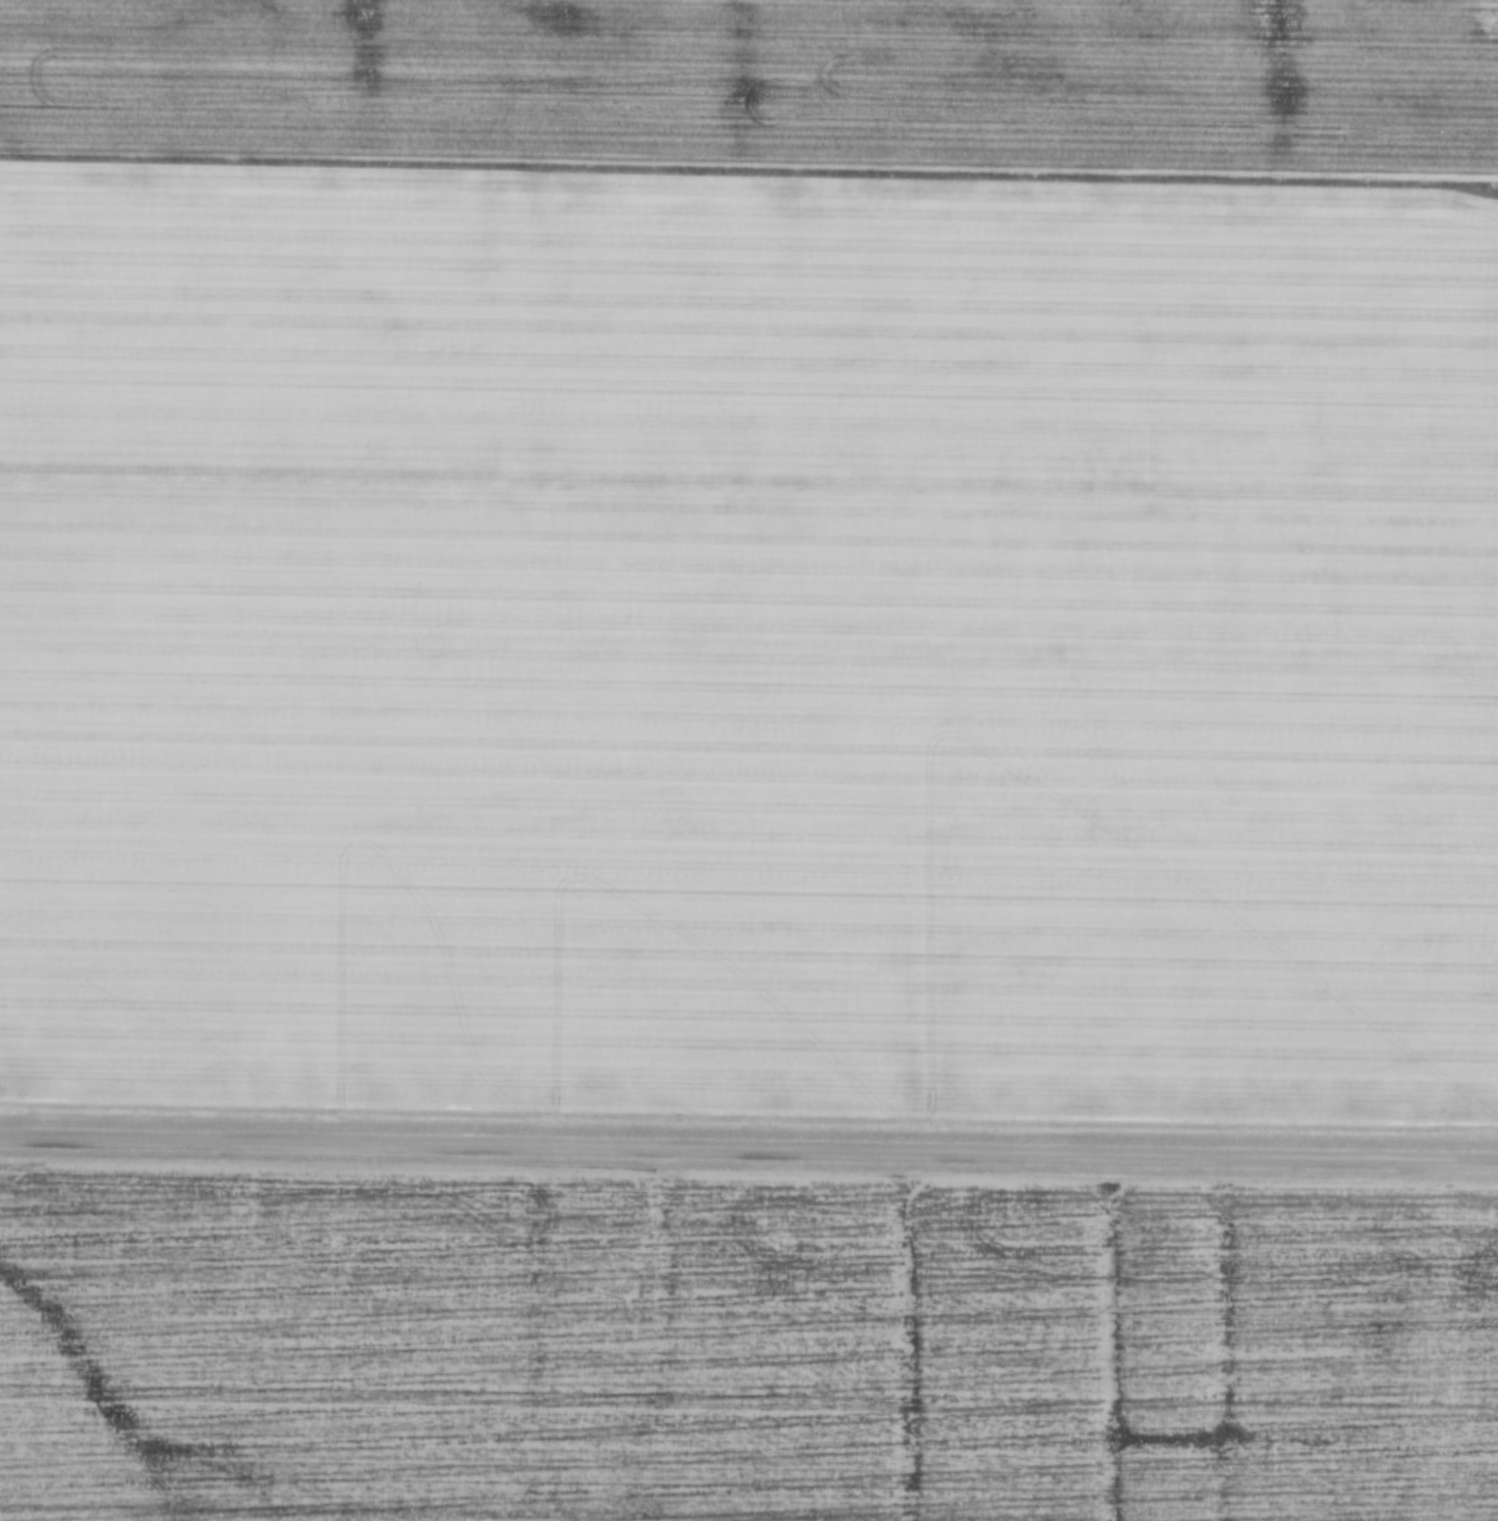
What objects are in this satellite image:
road: (749, 1150)

